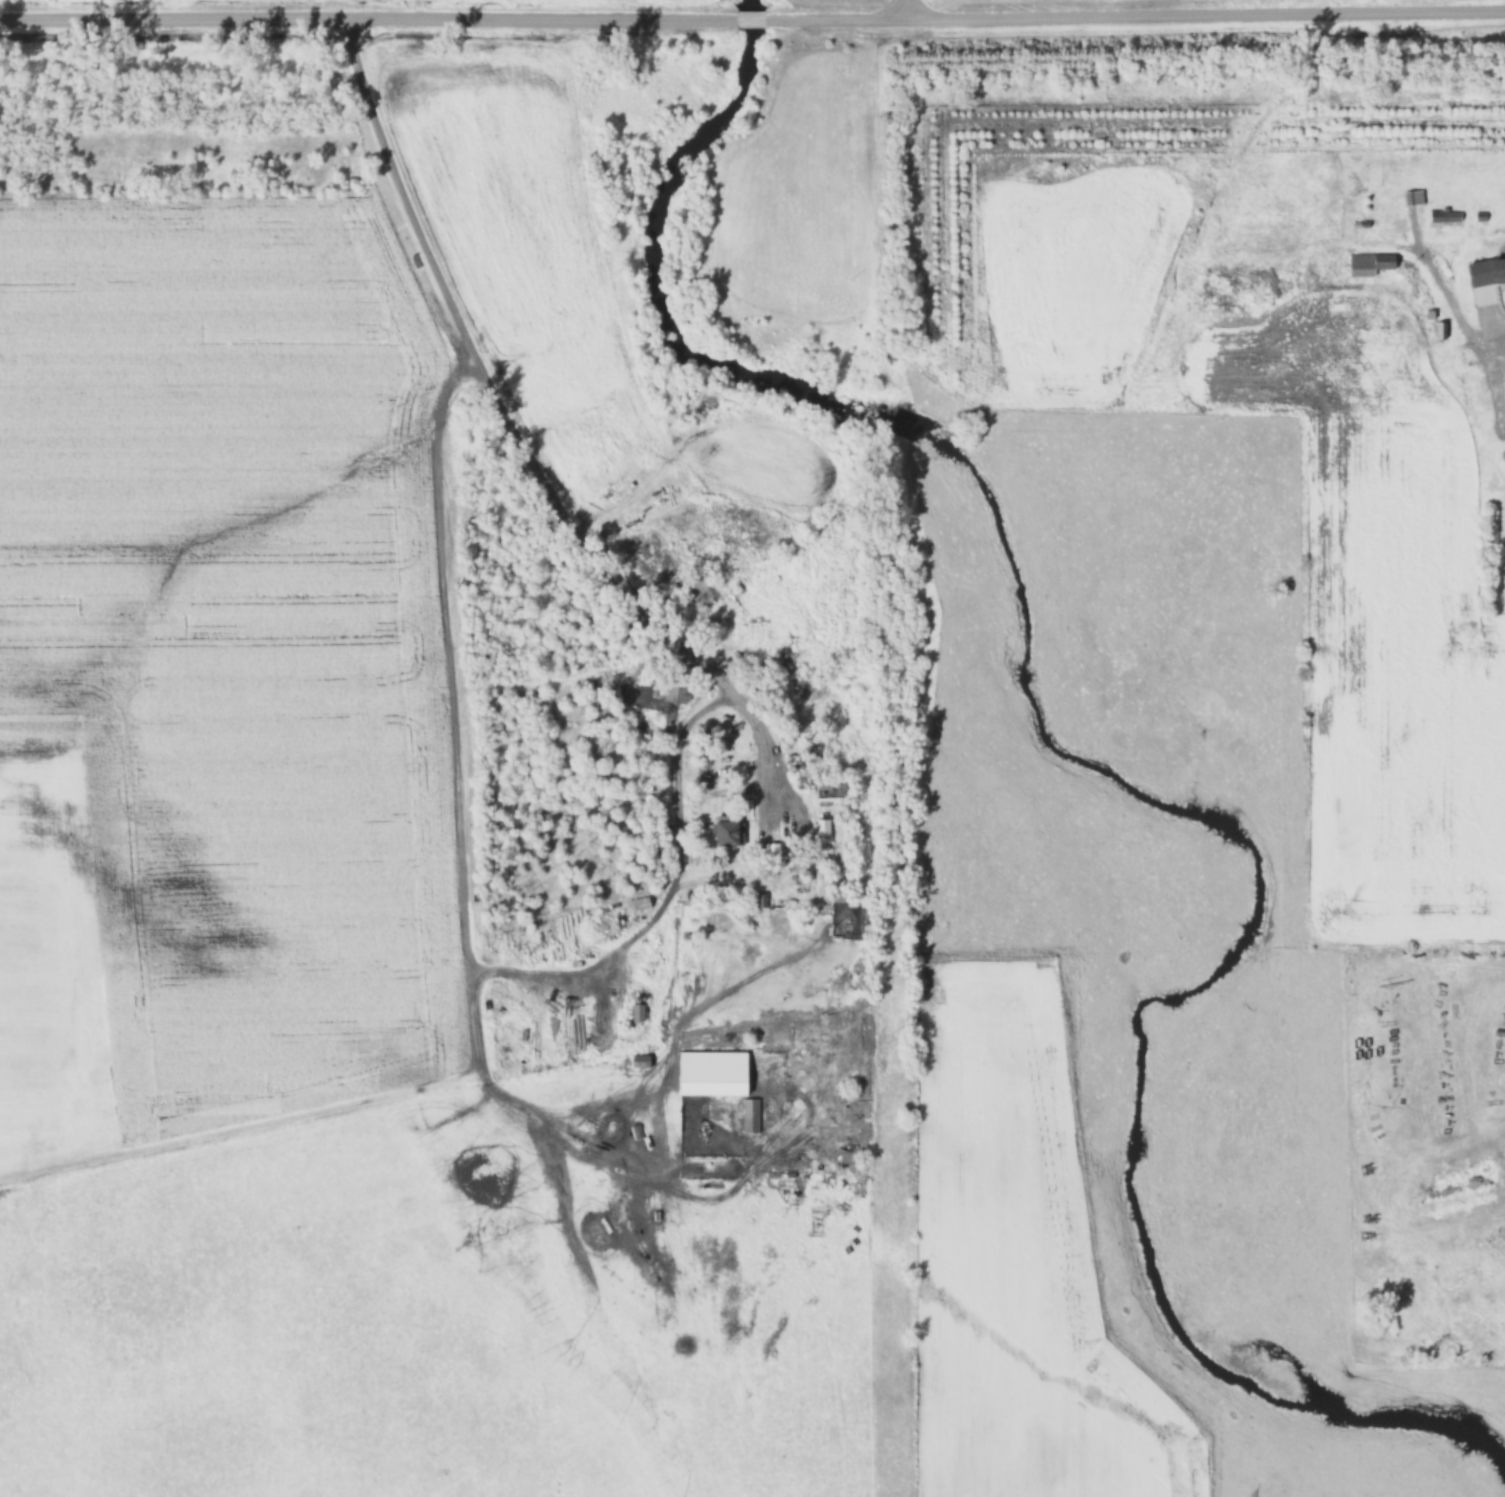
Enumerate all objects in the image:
road: (908, 9)
road: (1134, 15)
road: (367, 18)
road: (749, 19)
building: (1415, 196)
building: (1443, 214)
building: (1367, 264)
building: (1498, 268)
road: (1484, 319)
building: (1439, 330)
building: (1501, 418)
road: (523, 450)
building: (698, 578)
building: (682, 588)
building: (725, 831)
building: (820, 834)
building: (837, 896)
building: (752, 906)

